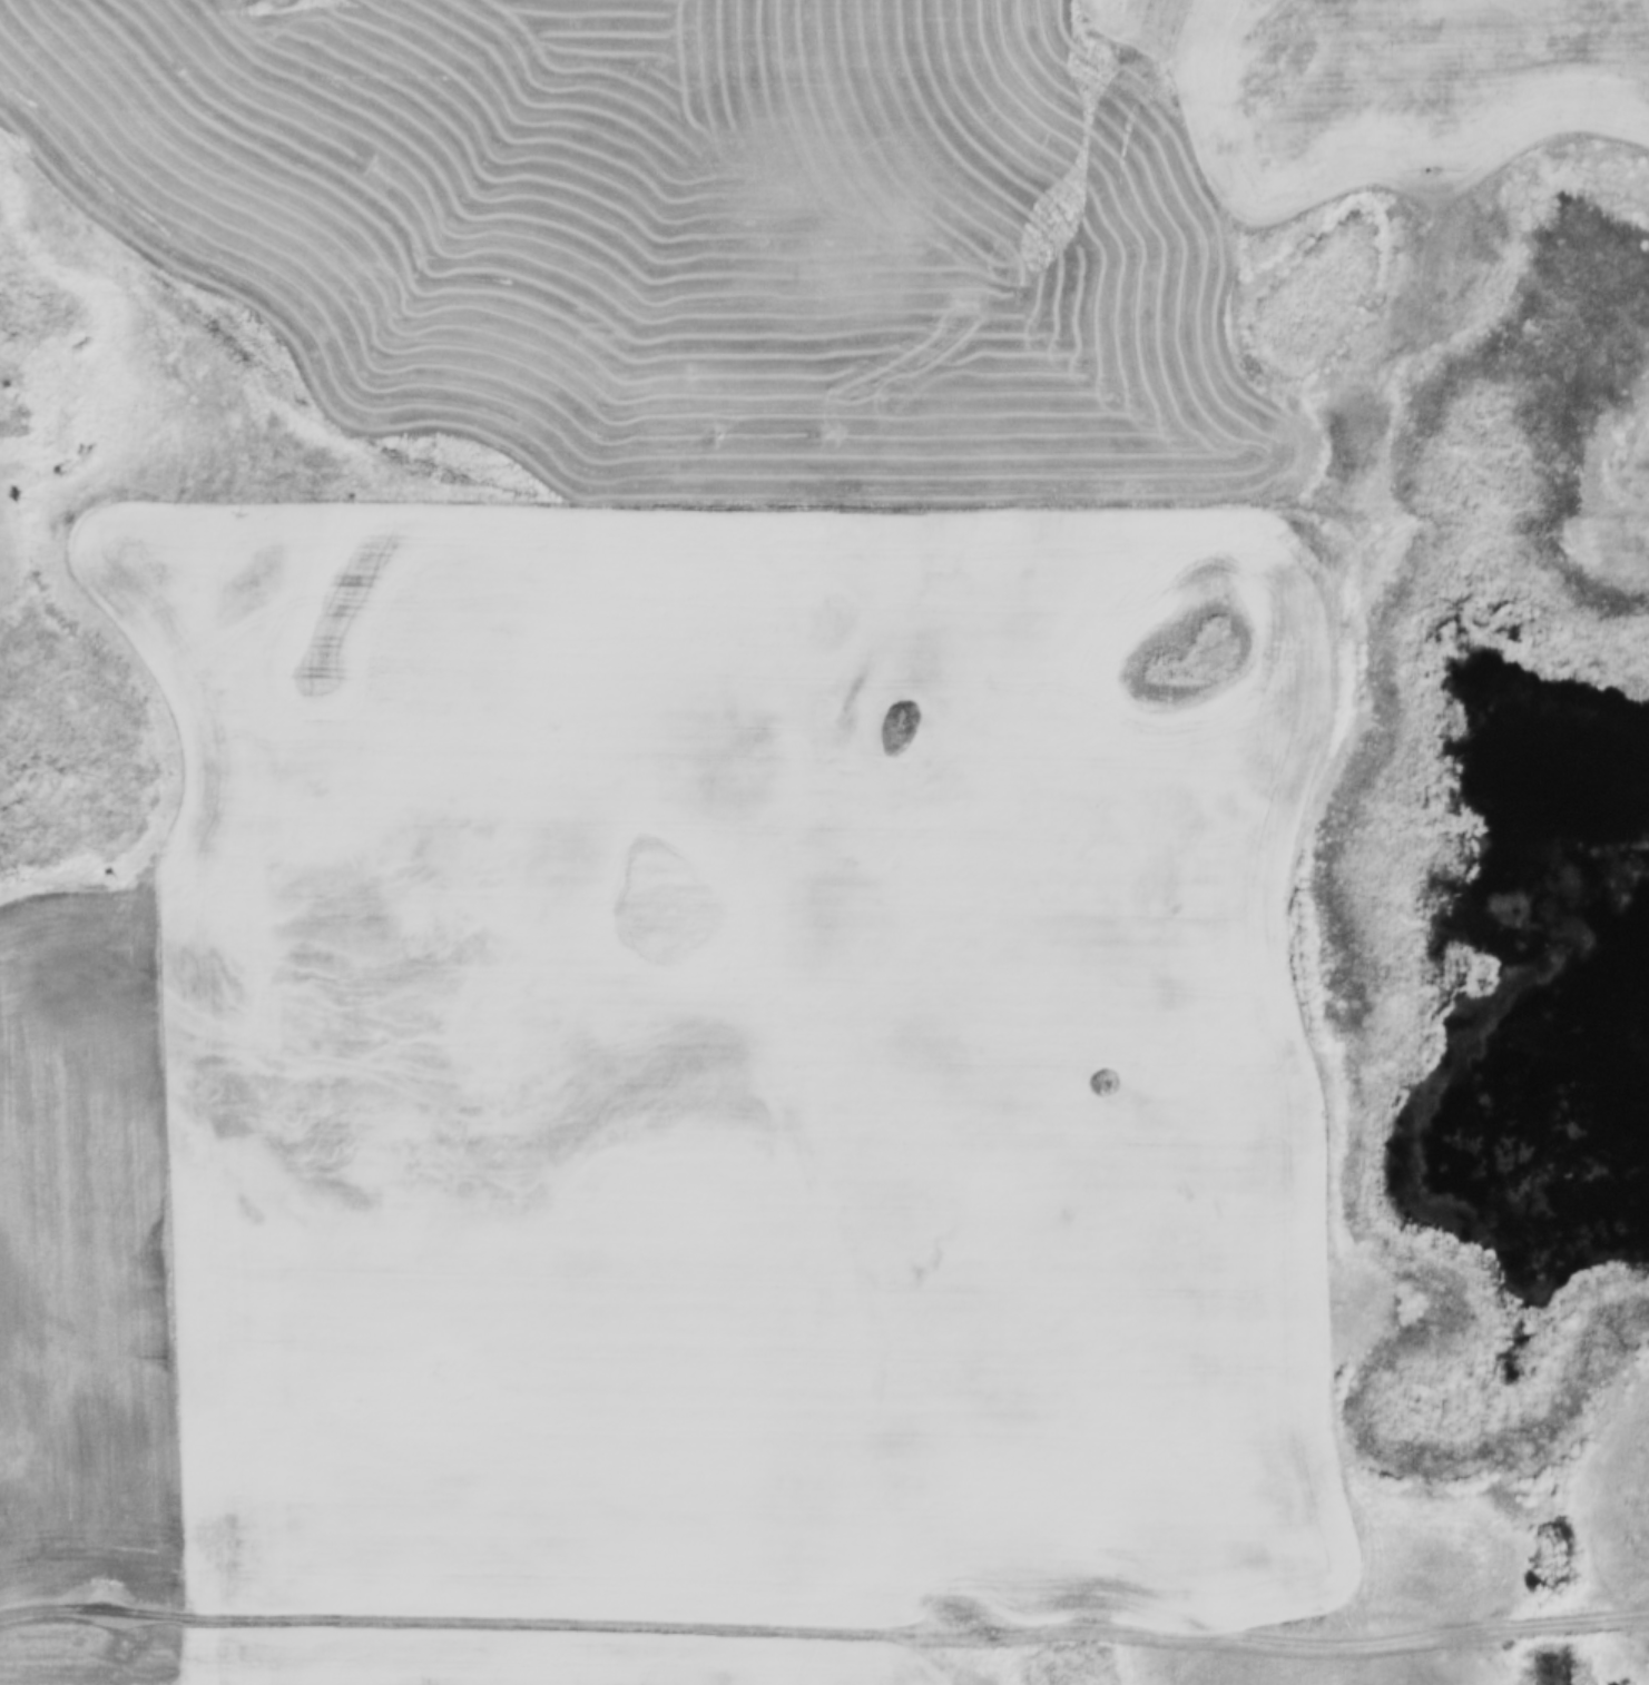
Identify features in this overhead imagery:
road: (825, 1637)

